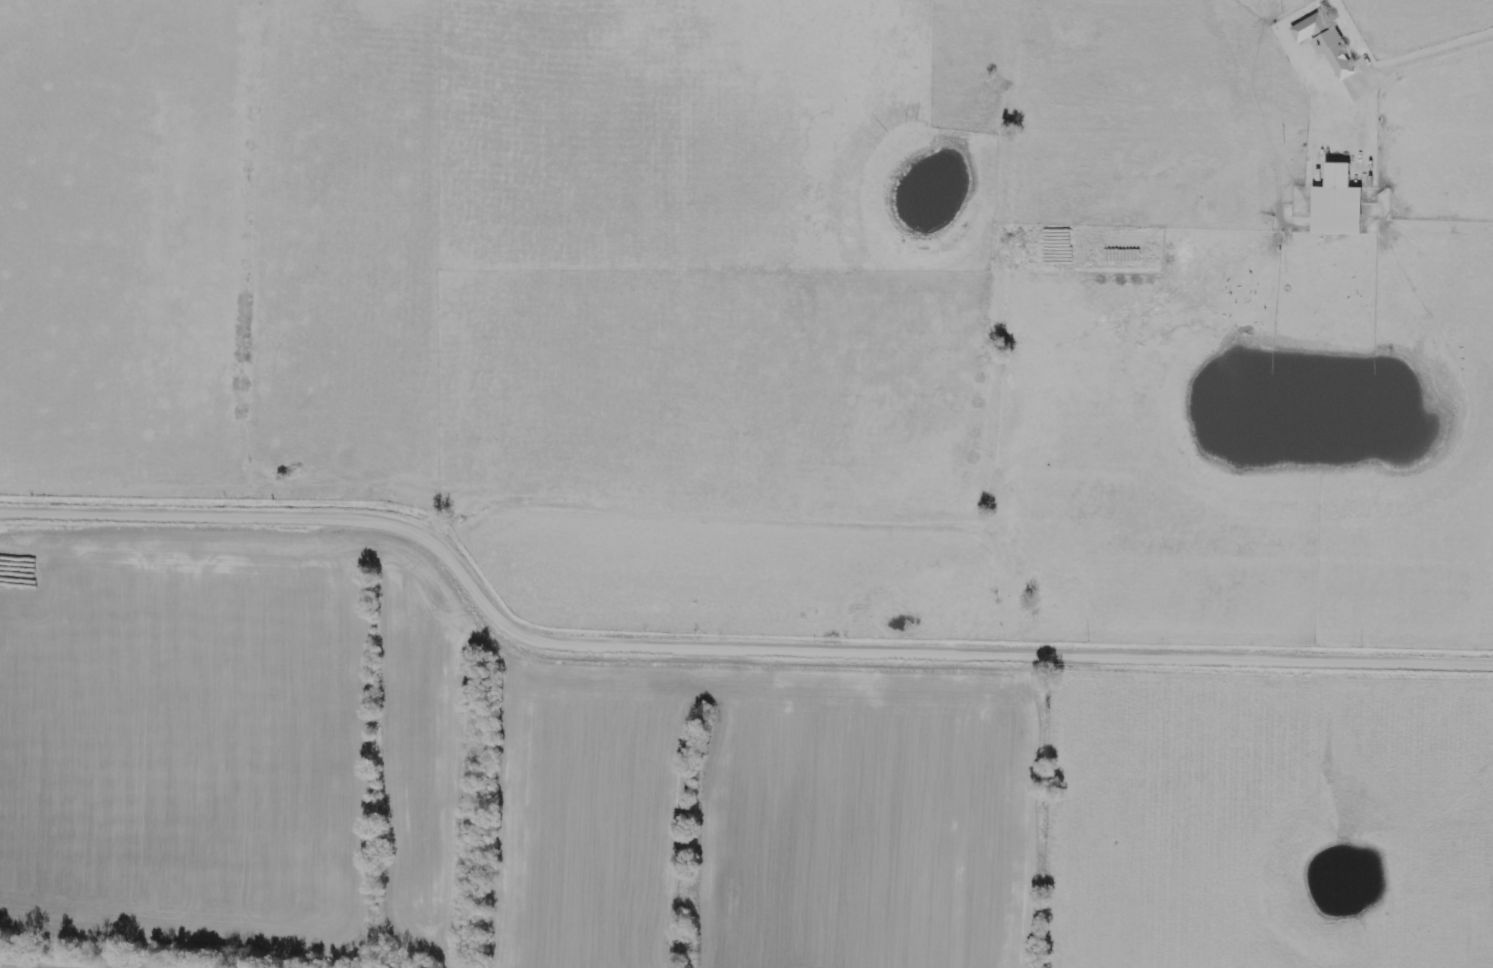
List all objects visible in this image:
building: (1325, 43)
road: (1425, 51)
building: (1338, 204)
road: (722, 643)

